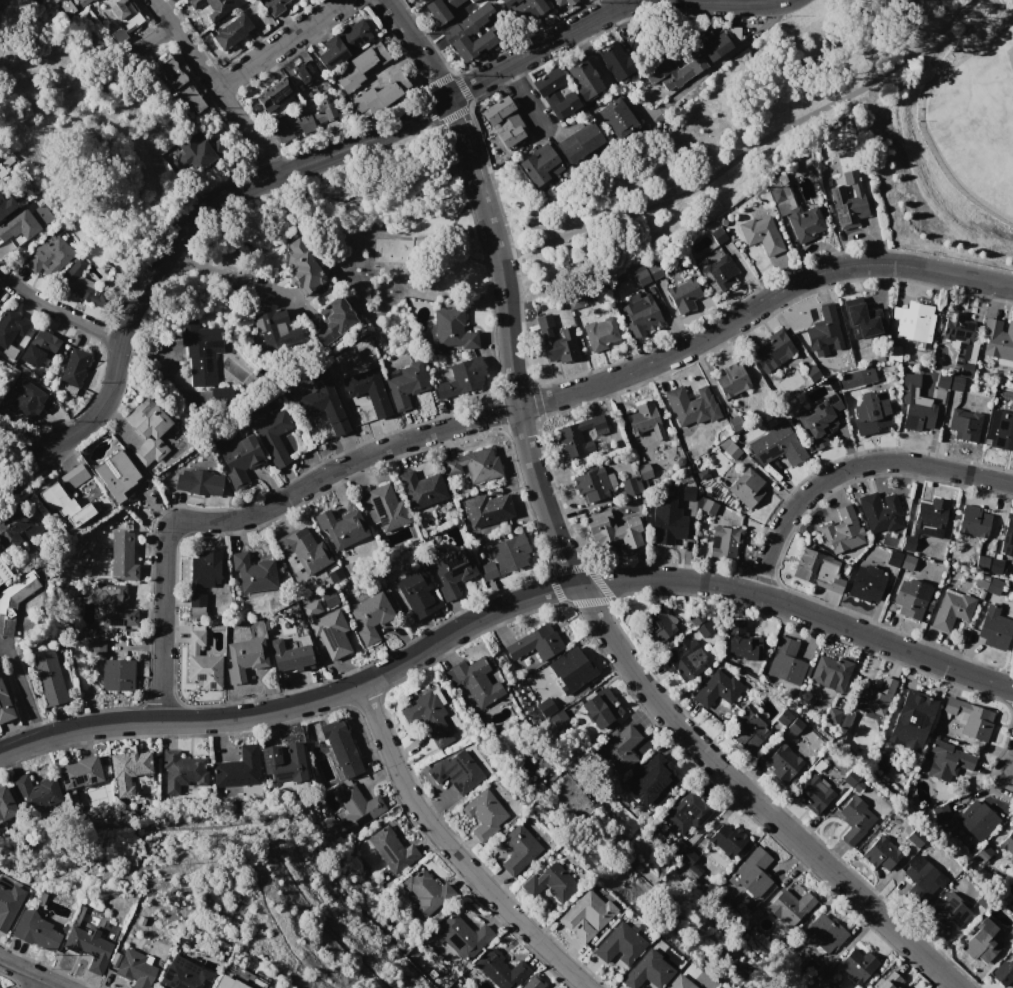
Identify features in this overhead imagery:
building: (415, 0)
building: (419, 0)
building: (472, 0)
building: (33, 1)
building: (83, 2)
building: (563, 2)
road: (615, 4)
building: (274, 6)
building: (212, 7)
building: (67, 8)
building: (525, 8)
building: (441, 9)
road: (606, 13)
building: (123, 17)
building: (457, 31)
building: (232, 32)
road: (279, 44)
building: (342, 44)
road: (416, 47)
road: (125, 56)
road: (46, 59)
road: (722, 59)
building: (699, 61)
building: (615, 62)
building: (360, 66)
building: (304, 70)
building: (170, 71)
building: (584, 78)
road: (215, 87)
building: (555, 93)
building: (274, 94)
building: (383, 94)
building: (189, 97)
road: (524, 101)
park: (673, 107)
building: (618, 117)
building: (505, 120)
building: (304, 121)
park: (974, 123)
park: (85, 135)
road: (463, 139)
building: (579, 141)
building: (200, 151)
road: (753, 155)
building: (5, 165)
building: (541, 167)
building: (842, 170)
building: (5, 203)
building: (794, 207)
building: (24, 222)
park: (401, 223)
road: (177, 233)
building: (761, 234)
building: (718, 235)
building: (50, 257)
building: (303, 266)
building: (654, 271)
building: (718, 273)
building: (641, 275)
road: (236, 276)
building: (78, 284)
building: (683, 295)
building: (0, 305)
road: (57, 311)
building: (641, 314)
building: (334, 318)
building: (860, 318)
building: (914, 323)
building: (453, 328)
building: (11, 329)
building: (823, 332)
building: (277, 333)
building: (600, 333)
building: (961, 340)
building: (555, 341)
building: (997, 342)
building: (40, 348)
building: (200, 350)
building: (772, 351)
building: (894, 354)
building: (73, 371)
building: (810, 373)
building: (856, 377)
building: (461, 378)
building: (732, 379)
building: (942, 380)
building: (957, 383)
building: (404, 384)
road: (595, 384)
building: (369, 390)
building: (222, 395)
building: (26, 399)
building: (325, 405)
building: (691, 405)
building: (914, 405)
building: (871, 412)
building: (644, 420)
building: (821, 420)
building: (736, 423)
building: (964, 424)
building: (1000, 431)
building: (147, 432)
building: (271, 434)
building: (578, 436)
building: (777, 444)
building: (730, 448)
road: (44, 460)
building: (240, 460)
building: (473, 466)
road: (850, 467)
building: (643, 470)
building: (116, 475)
building: (75, 476)
building: (199, 482)
building: (592, 484)
building: (630, 486)
building: (747, 487)
building: (421, 488)
building: (687, 493)
building: (53, 496)
building: (707, 505)
building: (386, 506)
building: (486, 506)
building: (879, 510)
building: (931, 513)
building: (974, 520)
building: (342, 524)
building: (14, 527)
building: (668, 528)
building: (611, 529)
building: (841, 531)
building: (1008, 536)
building: (724, 541)
building: (907, 542)
building: (301, 549)
building: (123, 552)
building: (510, 553)
building: (892, 558)
building: (907, 561)
building: (981, 561)
building: (808, 564)
building: (994, 566)
building: (204, 568)
building: (3, 569)
building: (486, 569)
building: (252, 570)
building: (454, 573)
building: (334, 574)
building: (979, 581)
building: (837, 583)
building: (865, 584)
building: (994, 586)
building: (18, 587)
building: (416, 592)
building: (327, 597)
building: (196, 599)
building: (908, 601)
building: (111, 604)
road: (503, 604)
building: (195, 612)
building: (952, 612)
building: (372, 616)
road: (161, 619)
building: (656, 624)
building: (994, 627)
building: (703, 628)
building: (332, 634)
building: (194, 636)
building: (743, 640)
road: (614, 643)
building: (96, 645)
building: (531, 646)
building: (289, 651)
building: (246, 659)
building: (788, 659)
building: (683, 664)
building: (573, 669)
building: (203, 670)
building: (829, 670)
building: (116, 674)
building: (48, 675)
building: (477, 681)
road: (23, 685)
building: (716, 691)
building: (872, 693)
building: (549, 703)
building: (948, 704)
building: (4, 706)
building: (600, 707)
building: (558, 715)
building: (832, 715)
building: (781, 719)
building: (910, 719)
building: (426, 722)
building: (976, 723)
building: (794, 726)
building: (748, 731)
building: (620, 746)
building: (339, 748)
building: (781, 762)
building: (948, 762)
building: (282, 763)
building: (880, 764)
building: (234, 766)
road: (1009, 767)
building: (181, 769)
building: (463, 769)
building: (79, 770)
building: (130, 770)
building: (436, 771)
building: (850, 778)
building: (657, 779)
building: (33, 787)
building: (250, 788)
building: (621, 788)
building: (813, 793)
building: (5, 804)
building: (361, 804)
building: (686, 809)
building: (940, 812)
building: (481, 816)
building: (855, 819)
building: (976, 819)
building: (725, 837)
building: (915, 838)
building: (1008, 843)
building: (517, 849)
road: (449, 850)
building: (392, 851)
building: (984, 851)
building: (880, 854)
building: (751, 876)
building: (921, 880)
building: (548, 883)
building: (427, 893)
building: (57, 897)
building: (8, 903)
building: (217, 905)
building: (791, 905)
building: (949, 912)
building: (584, 913)
building: (36, 931)
building: (1010, 932)
building: (825, 934)
building: (462, 936)
building: (981, 942)
building: (618, 945)
building: (87, 946)
building: (858, 964)
building: (133, 969)
building: (500, 970)
building: (646, 971)
building: (1004, 971)
road: (29, 974)
building: (187, 978)
building: (823, 980)
building: (891, 982)
building: (678, 983)
road: (39, 984)
building: (532, 984)
building: (215, 986)

